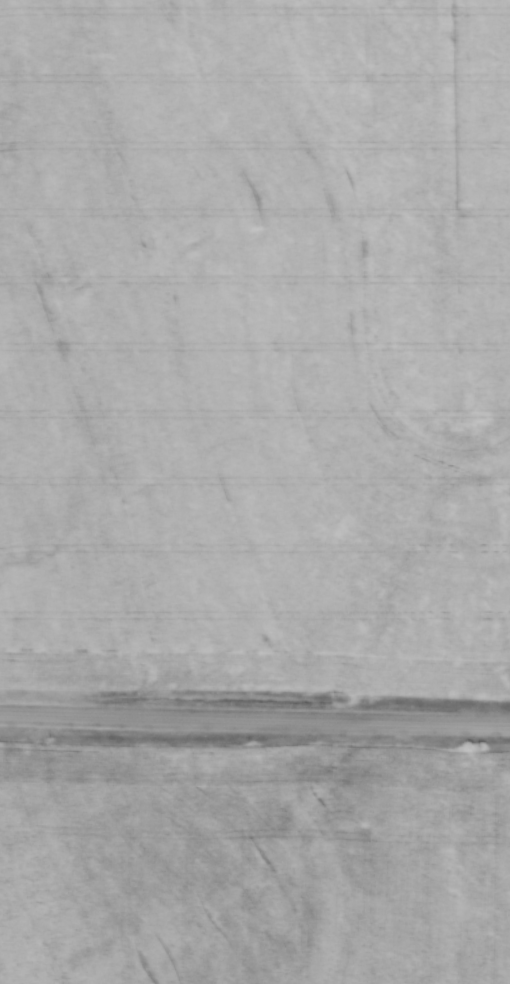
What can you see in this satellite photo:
road: (255, 721)

